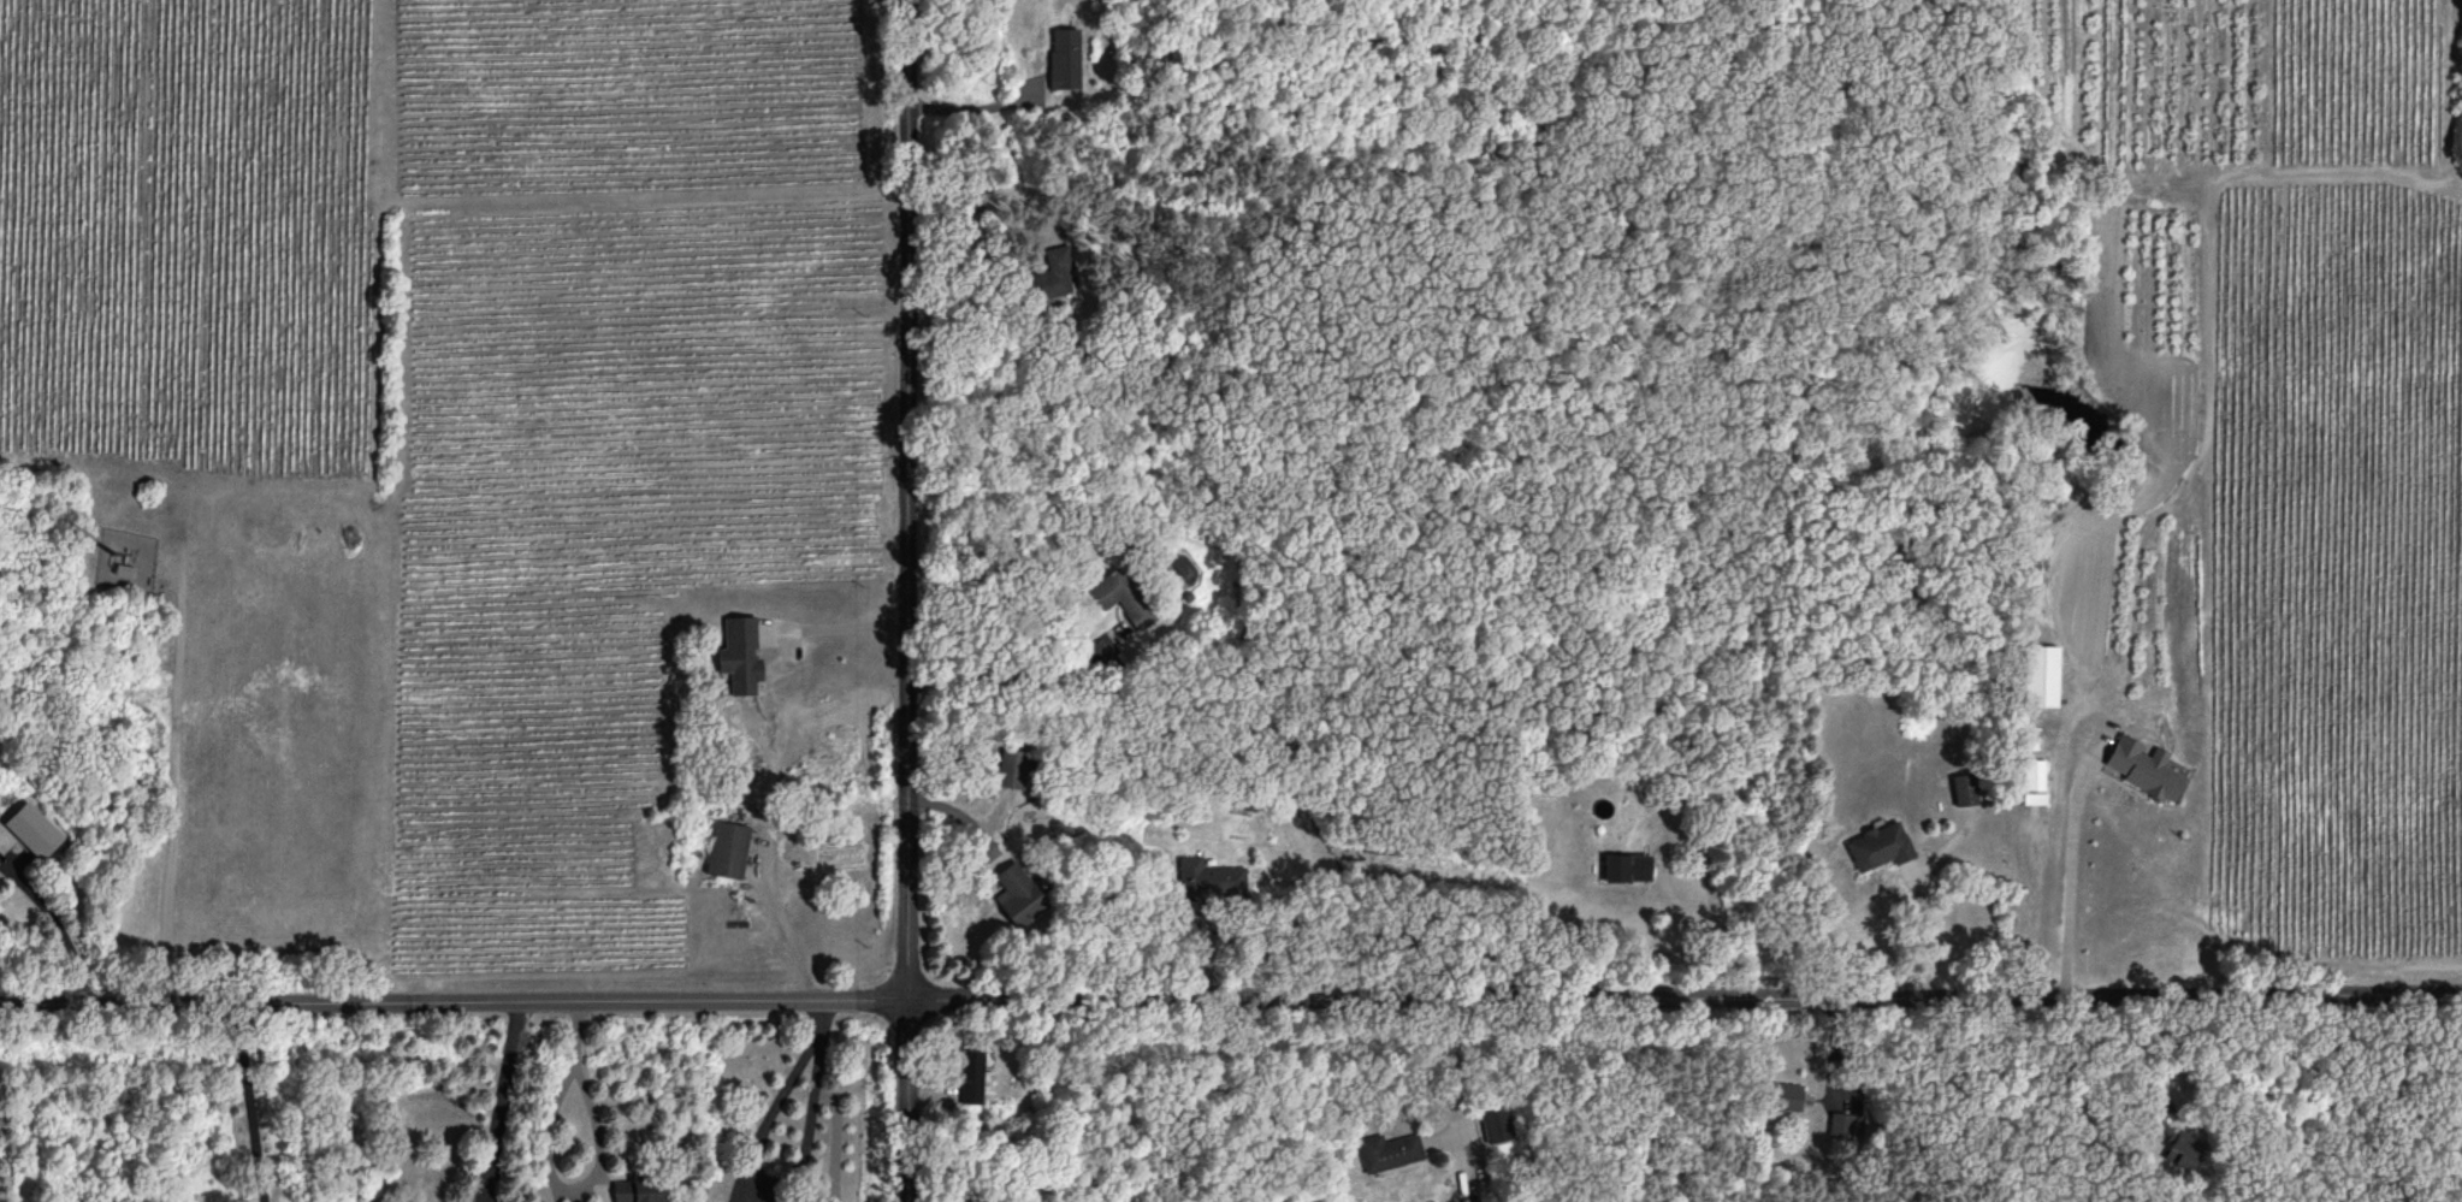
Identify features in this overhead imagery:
building: (1065, 57)
road: (980, 102)
road: (981, 203)
building: (1052, 273)
building: (1120, 596)
road: (911, 600)
road: (842, 627)
building: (741, 653)
building: (2040, 674)
road: (1006, 675)
building: (1013, 766)
building: (2143, 766)
building: (2034, 780)
building: (1965, 787)
building: (34, 828)
building: (728, 847)
building: (1627, 865)
building: (1209, 876)
road: (2070, 877)
building: (1018, 892)
road: (1919, 929)
road: (61, 934)
road: (1231, 999)
road: (2061, 1068)
building: (970, 1073)
building: (1787, 1094)
road: (2387, 1096)
road: (498, 1099)
road: (247, 1102)
road: (1452, 1117)
building: (1496, 1123)
building: (1846, 1124)
building: (1387, 1149)
road: (596, 1177)
road: (748, 1179)
building: (638, 1189)
building: (590, 1201)

